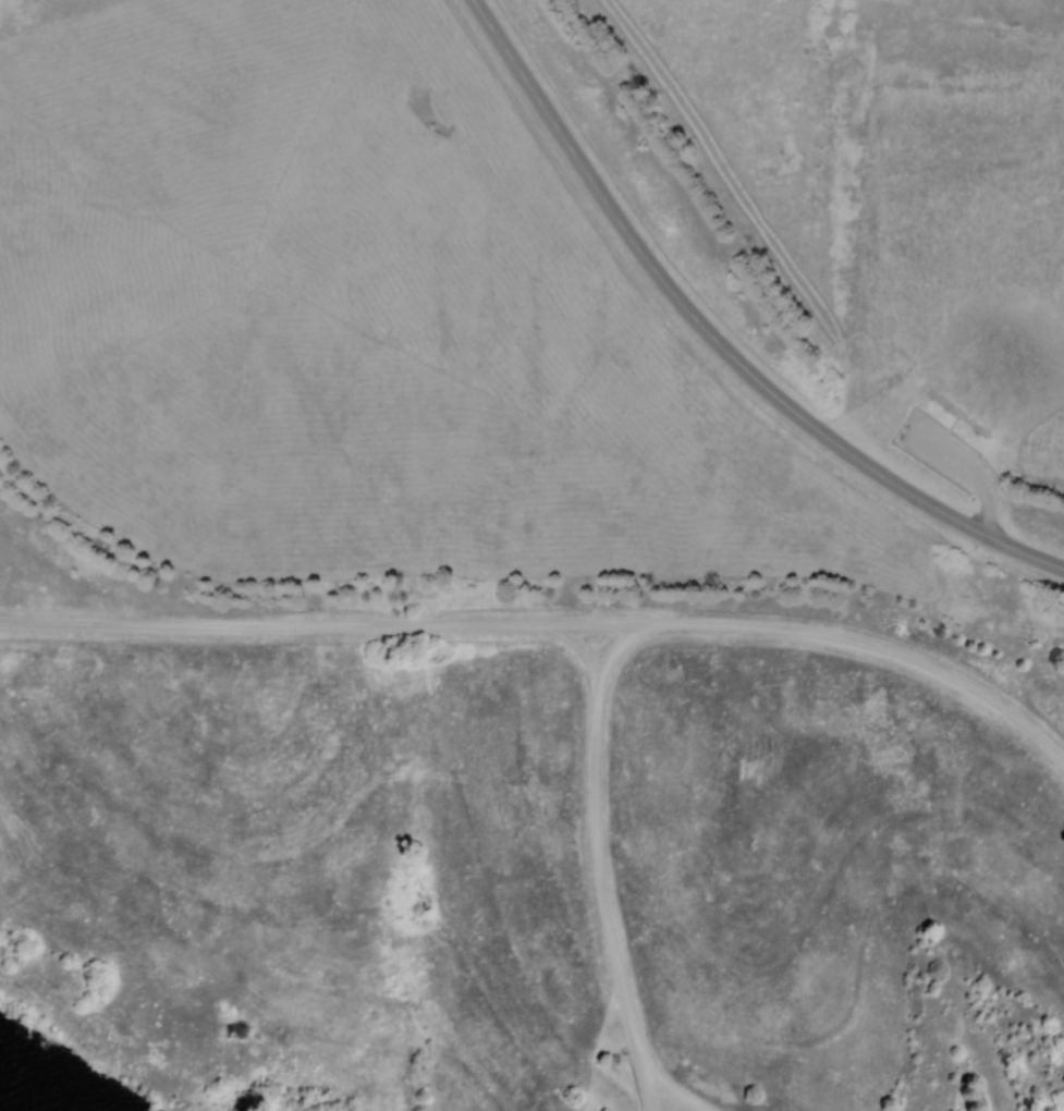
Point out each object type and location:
road: (718, 339)
road: (550, 628)
road: (591, 856)
park: (528, 860)
road: (659, 1084)

